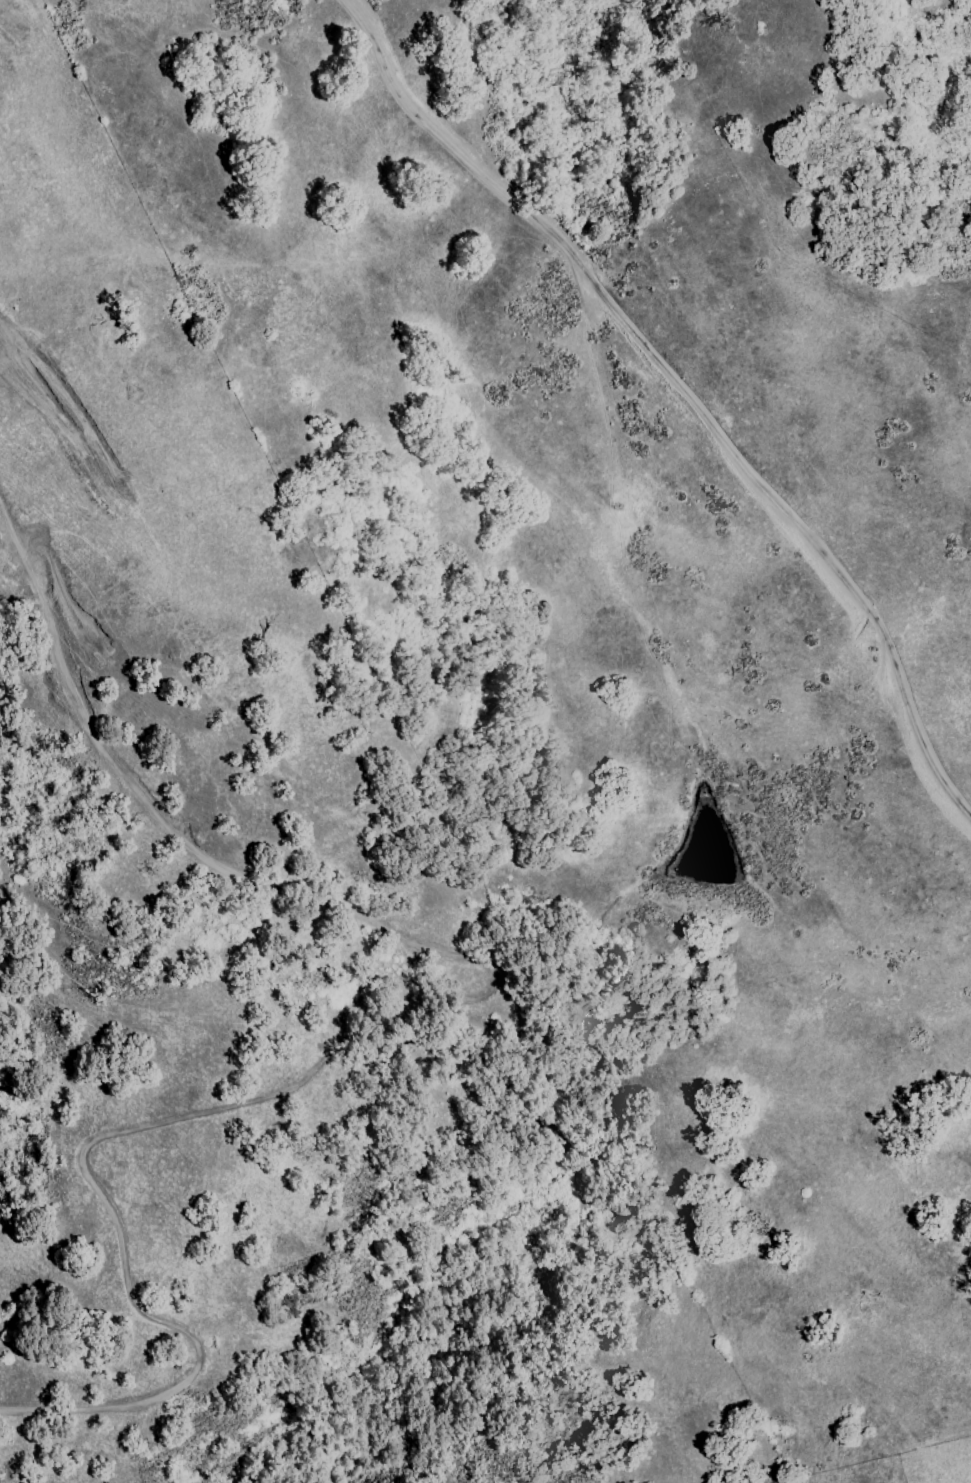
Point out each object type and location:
road: (471, 164)
road: (818, 549)

